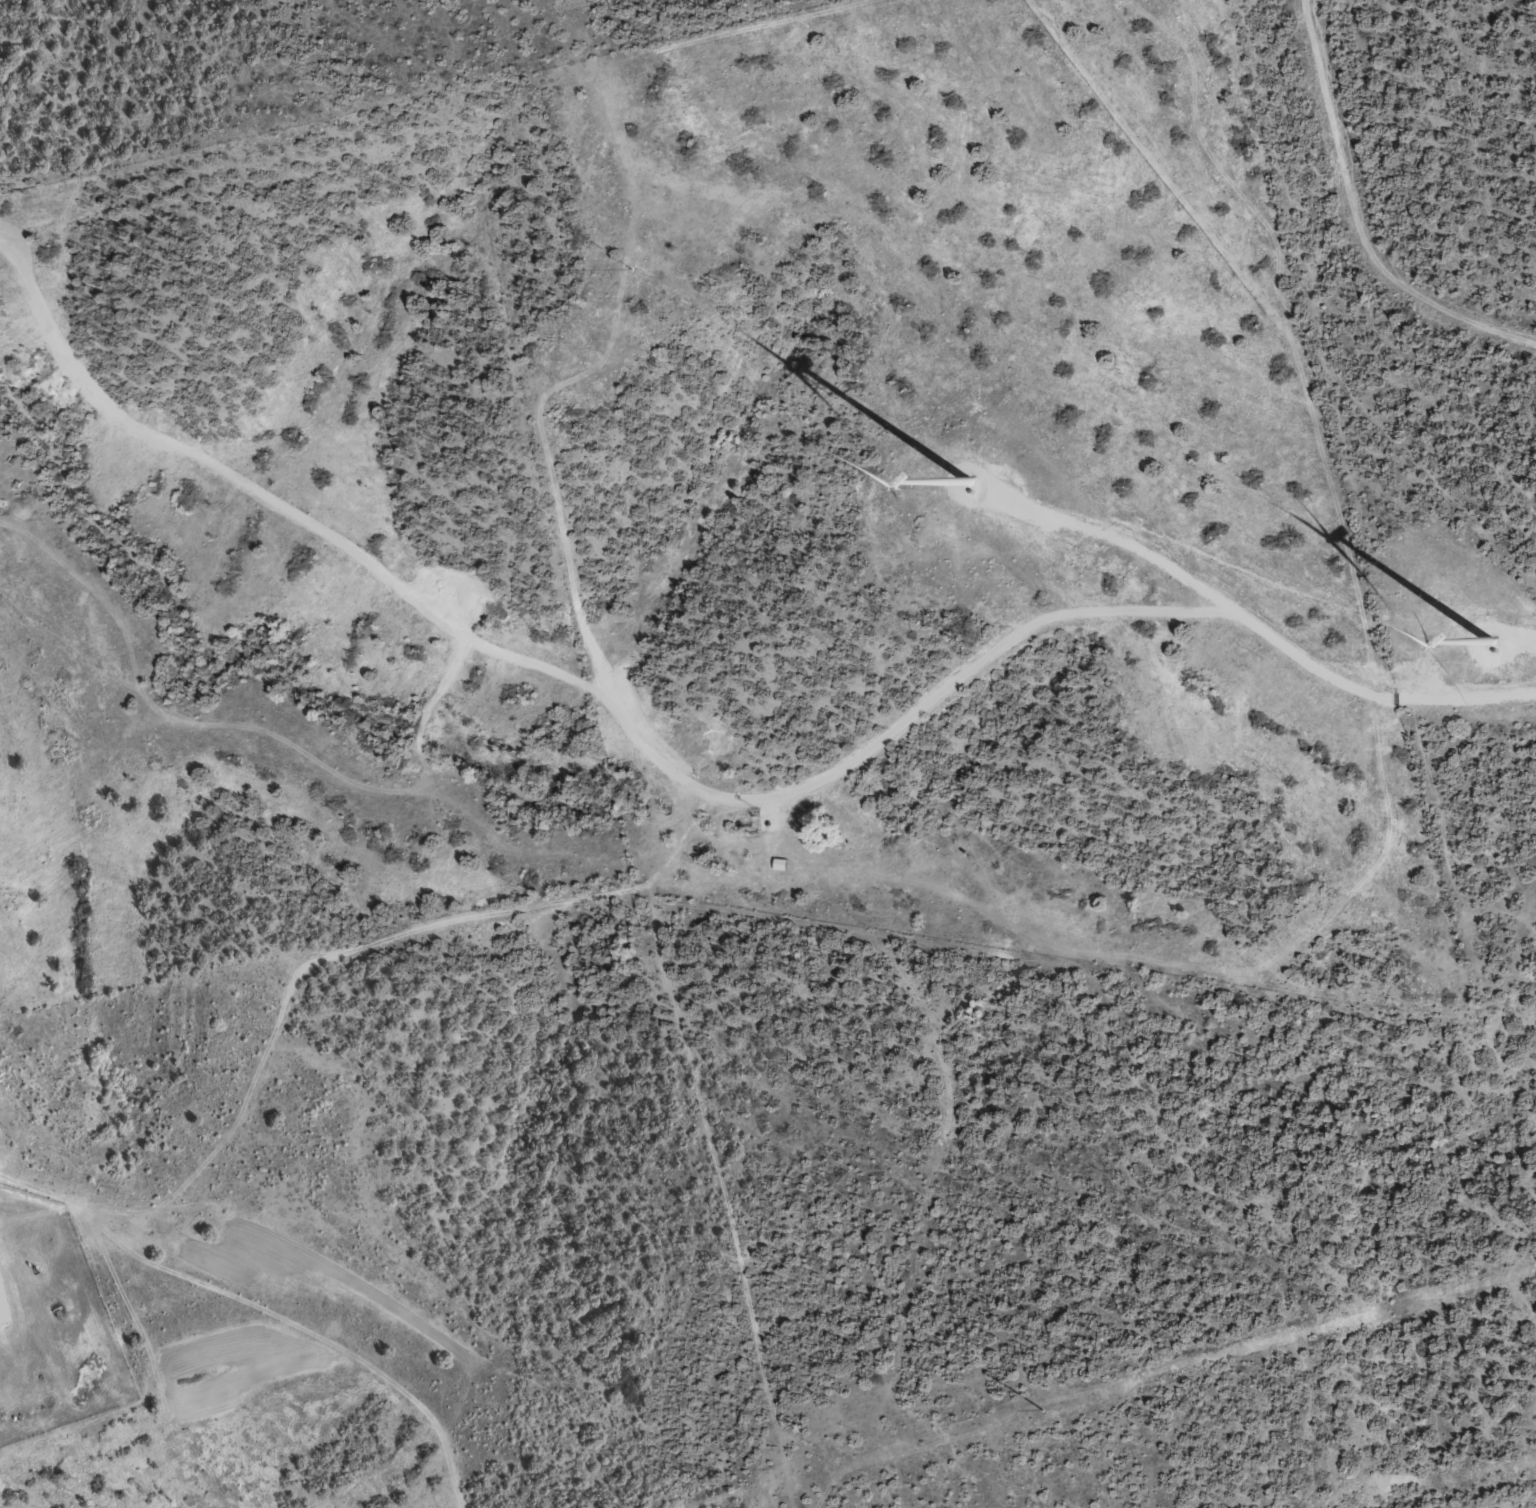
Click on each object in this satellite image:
road: (1412, 178)
wind turbine: (994, 488)
wind turbine: (1488, 658)
building: (0, 1320)
power tower: (1039, 1410)

